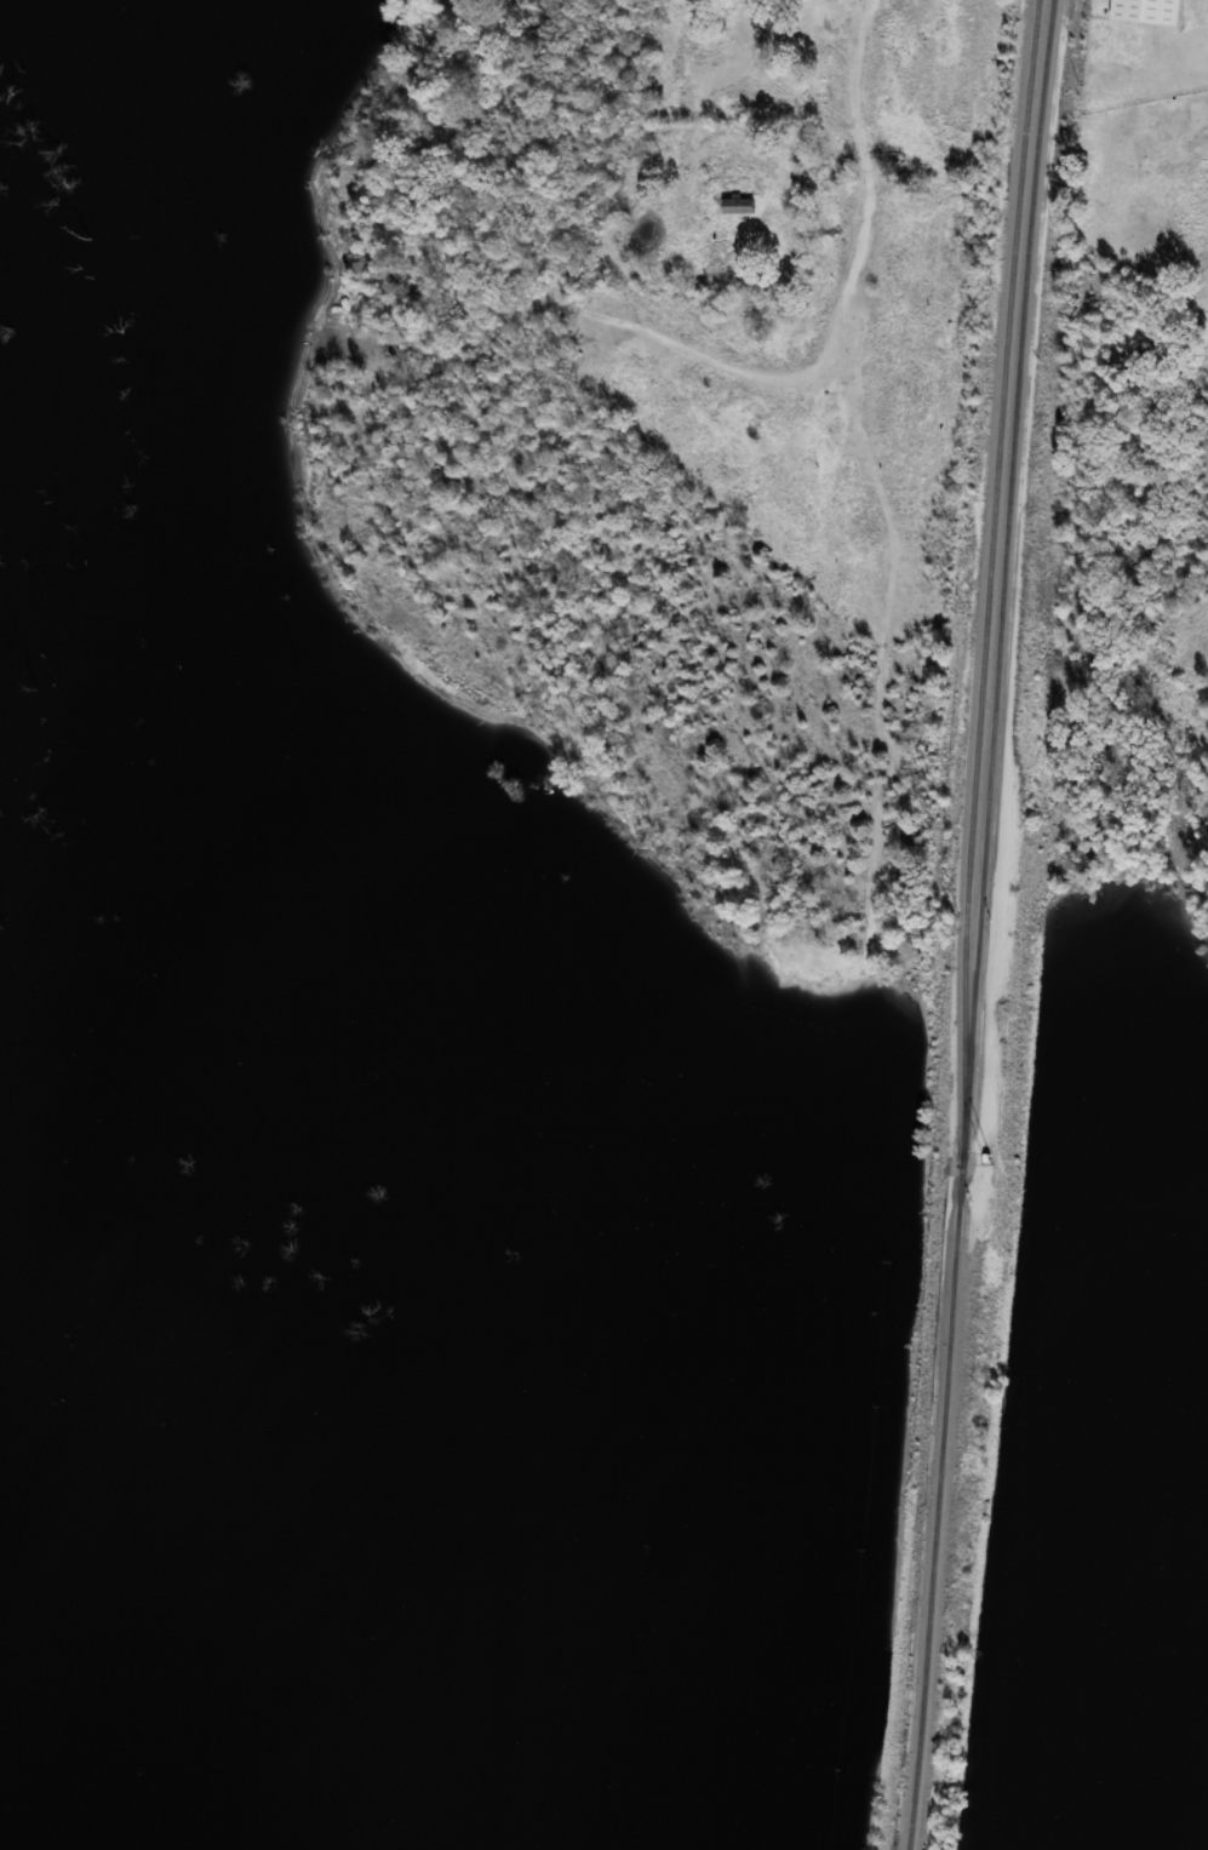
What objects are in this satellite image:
building: (1147, 11)
building: (739, 205)
railway: (994, 926)

